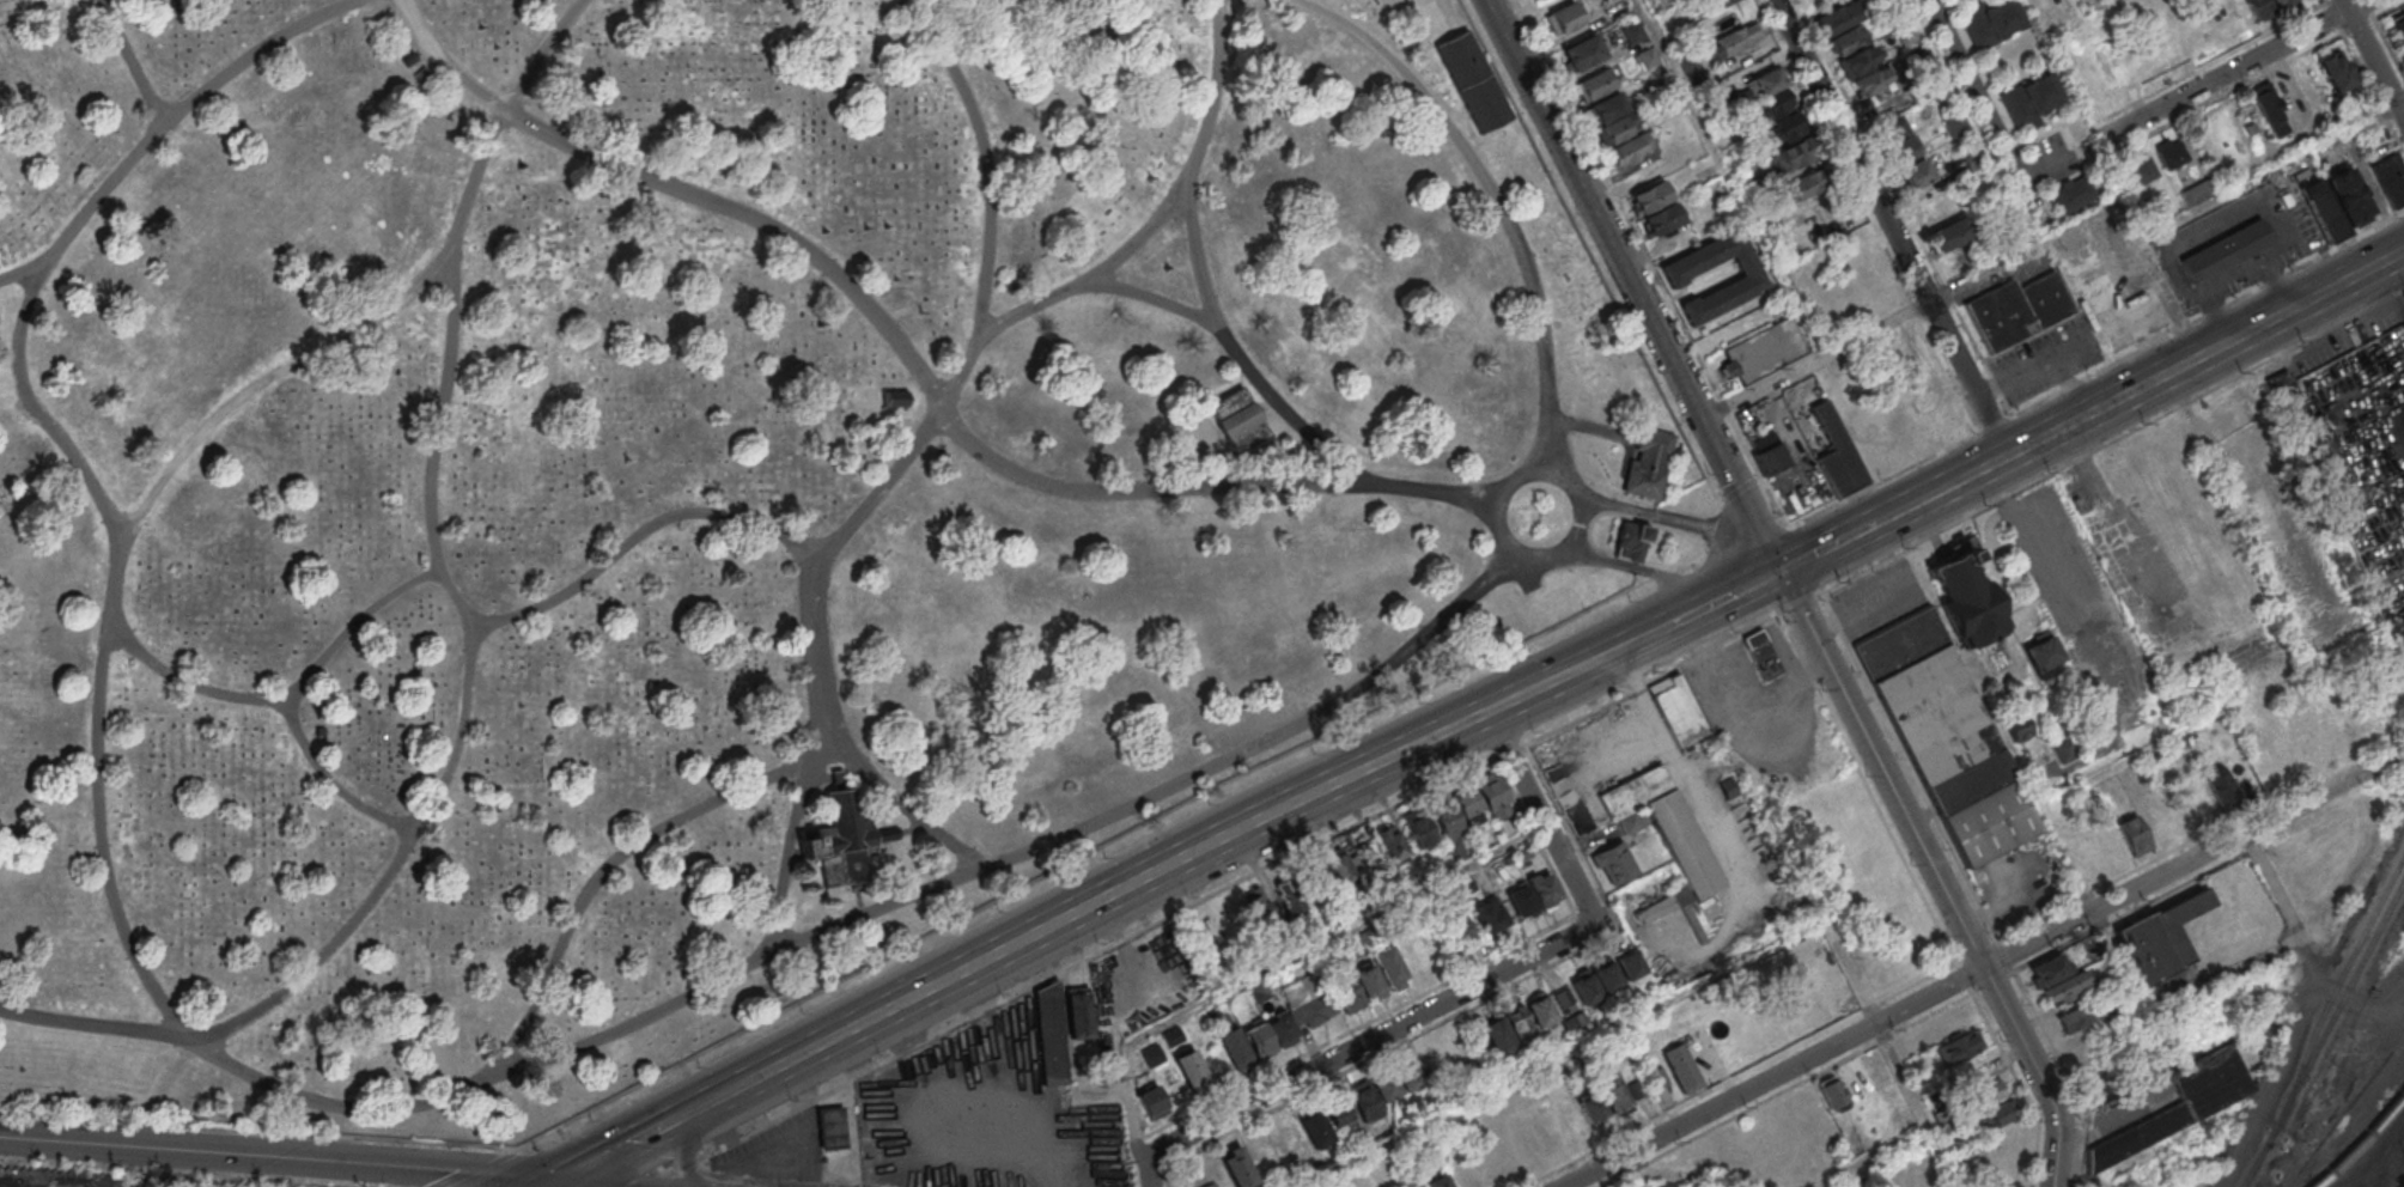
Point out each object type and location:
building: (1718, 2)
building: (2286, 5)
building: (2259, 7)
building: (1564, 17)
building: (1839, 17)
road: (2101, 17)
road: (1440, 18)
building: (1990, 20)
building: (2049, 20)
road: (1386, 23)
building: (2399, 24)
building: (1633, 32)
building: (1907, 34)
building: (1735, 38)
building: (1851, 38)
building: (1583, 51)
building: (1648, 56)
building: (1922, 56)
road: (2373, 59)
building: (1861, 60)
road: (132, 62)
building: (1692, 68)
road: (2230, 69)
building: (2337, 71)
building: (1767, 80)
building: (1870, 80)
building: (1471, 81)
building: (1596, 84)
building: (1715, 86)
building: (1745, 96)
building: (2029, 98)
road: (1984, 101)
building: (1775, 103)
building: (2268, 106)
building: (1607, 108)
road: (1457, 117)
building: (1953, 123)
building: (1790, 126)
building: (1892, 127)
building: (2250, 127)
building: (1618, 129)
building: (1678, 144)
building: (1631, 147)
building: (1903, 150)
road: (1852, 151)
building: (2171, 153)
building: (1740, 156)
building: (1794, 157)
building: (2142, 170)
building: (1915, 172)
building: (1982, 177)
road: (1730, 178)
building: (2391, 178)
building: (1808, 183)
building: (2197, 191)
building: (2074, 193)
building: (1650, 196)
building: (2350, 196)
road: (1498, 199)
building: (1934, 205)
building: (2001, 207)
building: (2323, 209)
road: (2100, 214)
building: (1766, 217)
building: (1661, 218)
road: (75, 224)
parking lot: (2307, 225)
road: (2258, 227)
road: (2247, 232)
building: (1949, 233)
road: (2236, 238)
road: (2162, 249)
road: (2323, 249)
building: (2227, 250)
road: (2210, 252)
parking lot: (2293, 252)
road: (2199, 258)
road: (2190, 263)
road: (31, 266)
road: (1201, 272)
road: (1088, 274)
building: (1674, 275)
road: (2274, 282)
road: (1632, 284)
parking lot: (2233, 285)
road: (1149, 296)
parking lot: (2189, 304)
building: (2016, 309)
road: (2215, 314)
road: (2207, 315)
building: (1764, 351)
road: (1815, 359)
road: (913, 360)
road: (2166, 372)
road: (1968, 377)
building: (1934, 390)
building: (896, 398)
road: (1264, 406)
building: (1236, 420)
road: (1994, 424)
road: (1590, 428)
building: (2314, 445)
building: (1832, 449)
building: (1772, 458)
road: (902, 461)
building: (1647, 465)
road: (1530, 474)
road: (1739, 489)
road: (1856, 493)
park: (728, 504)
road: (1901, 506)
road: (1682, 521)
road: (639, 534)
building: (1629, 542)
road: (1827, 544)
road: (1642, 570)
traffic signals: (1779, 570)
road: (1746, 585)
building: (1965, 595)
road: (1854, 608)
road: (1681, 616)
road: (1630, 641)
building: (2041, 652)
road: (470, 653)
building: (1761, 655)
road: (189, 681)
road: (293, 694)
building: (1678, 710)
building: (2016, 725)
building: (1947, 735)
building: (2308, 739)
building: (2065, 748)
building: (2156, 763)
building: (2221, 785)
building: (1726, 786)
building: (1492, 796)
building: (1467, 808)
building: (2160, 816)
building: (1443, 817)
building: (1632, 820)
building: (1416, 828)
road: (2248, 830)
building: (2134, 833)
building: (1664, 834)
building: (844, 839)
building: (1389, 842)
building: (1456, 851)
road: (787, 853)
building: (1521, 853)
road: (617, 857)
building: (1614, 863)
road: (1180, 865)
building: (1337, 868)
road: (1935, 873)
building: (1463, 883)
building: (1544, 889)
building: (1285, 899)
building: (1521, 901)
building: (1487, 913)
building: (1259, 915)
power substation: (2258, 924)
building: (1457, 927)
building: (2161, 935)
building: (1369, 936)
building: (1350, 949)
building: (1327, 956)
road: (2119, 958)
road: (1280, 961)
building: (1627, 963)
building: (1389, 967)
building: (2050, 969)
building: (1605, 976)
building: (1369, 981)
building: (1584, 988)
building: (2067, 988)
building: (1259, 991)
road: (1461, 992)
building: (1346, 993)
railway: (2329, 994)
building: (1310, 1009)
building: (1078, 1011)
building: (1539, 1011)
building: (1212, 1015)
building: (2074, 1018)
building: (1575, 1022)
building: (1519, 1024)
building: (1282, 1028)
railway: (2323, 1030)
building: (1049, 1034)
building: (1171, 1035)
building: (1497, 1035)
building: (1259, 1040)
building: (1958, 1045)
building: (1235, 1048)
road: (1828, 1048)
building: (1152, 1054)
building: (1191, 1067)
building: (1682, 1067)
building: (1405, 1075)
building: (1656, 1077)
road: (1905, 1077)
building: (1637, 1086)
building: (1384, 1088)
building: (1609, 1090)
road: (734, 1091)
building: (1832, 1091)
building: (1983, 1092)
road: (430, 1101)
building: (1152, 1101)
building: (1363, 1102)
building: (2179, 1102)
building: (1591, 1108)
building: (1337, 1113)
building: (1997, 1113)
building: (1944, 1115)
building: (832, 1126)
building: (1313, 1128)
road: (688, 1140)
railway: (2361, 1140)
road: (632, 1142)
railway: (2385, 1150)
road: (207, 1151)
building: (1420, 1151)
railway: (2391, 1162)
building: (1235, 1167)
railway: (2372, 1169)
road: (482, 1173)
railway: (2384, 1175)
road: (425, 1176)
building: (1436, 1181)
traffic signals: (552, 1185)
building: (1209, 1185)
building: (1667, 1185)
road: (549, 1186)
road: (565, 1186)

